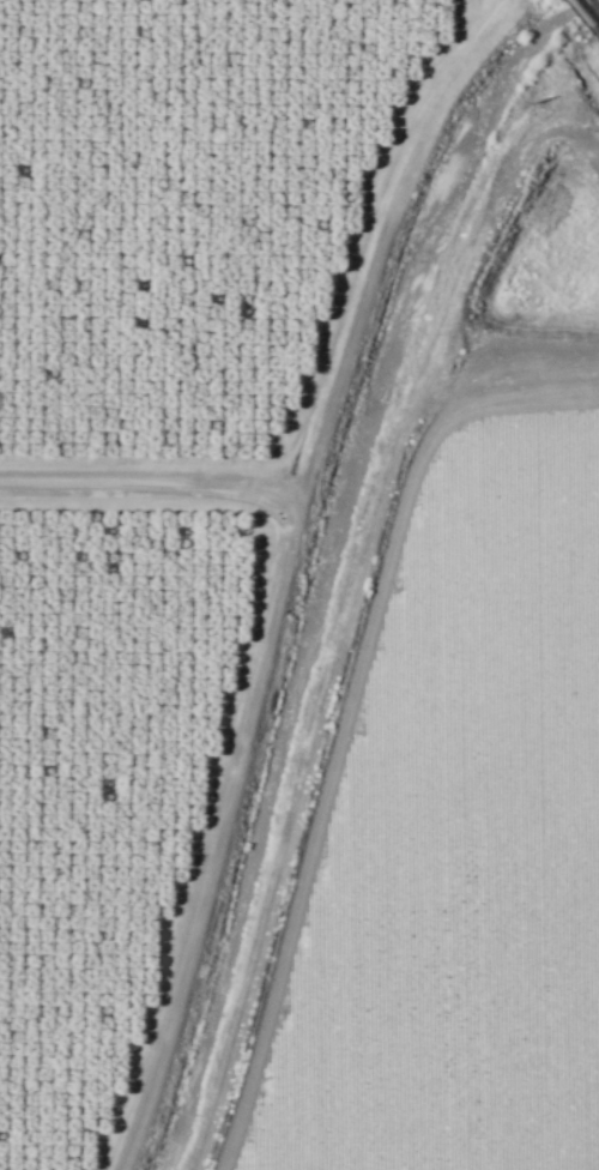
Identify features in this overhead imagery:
road: (592, 7)
road: (364, 236)
road: (347, 622)
road: (256, 695)

